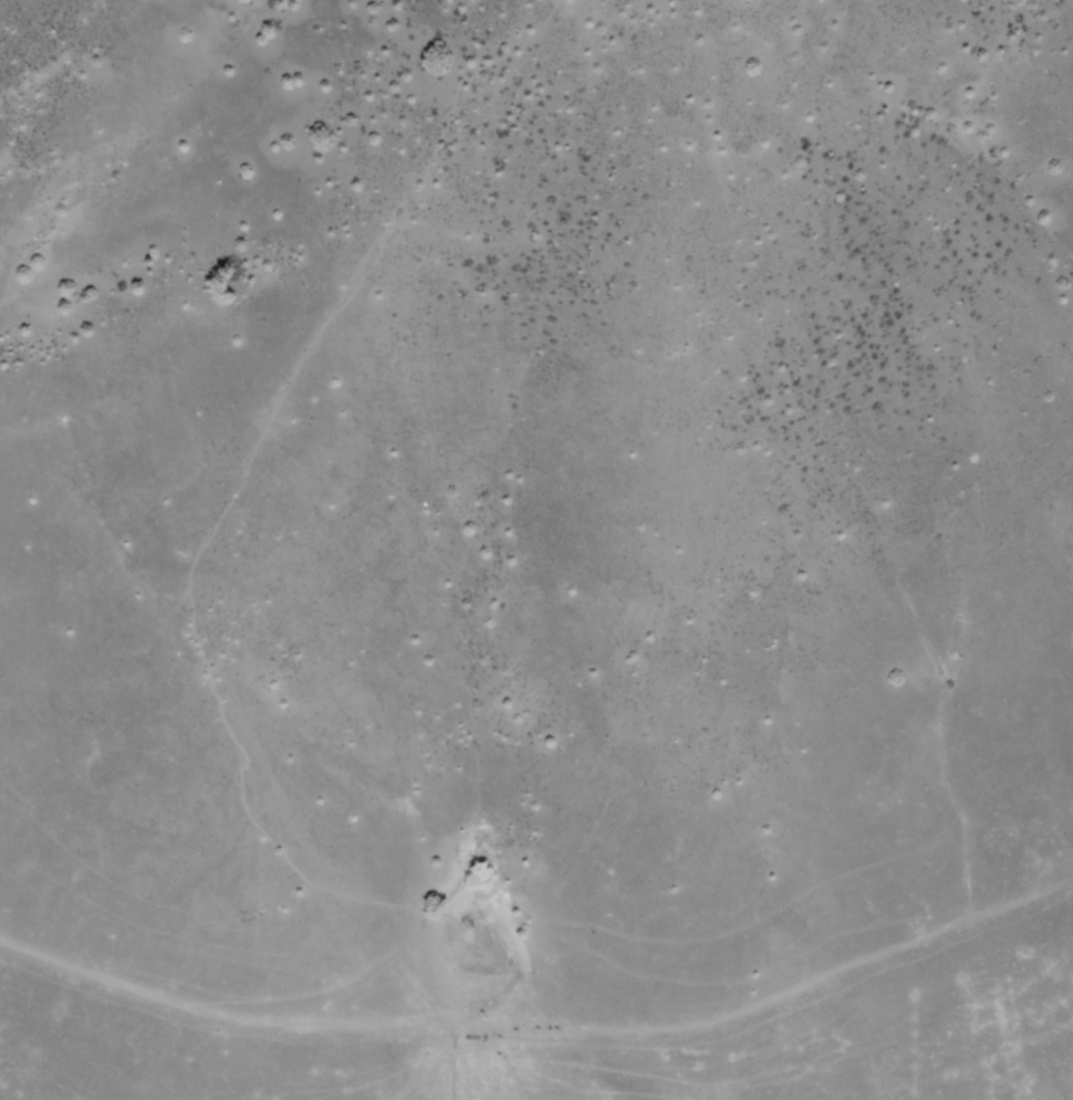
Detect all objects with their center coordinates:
road: (543, 1029)

